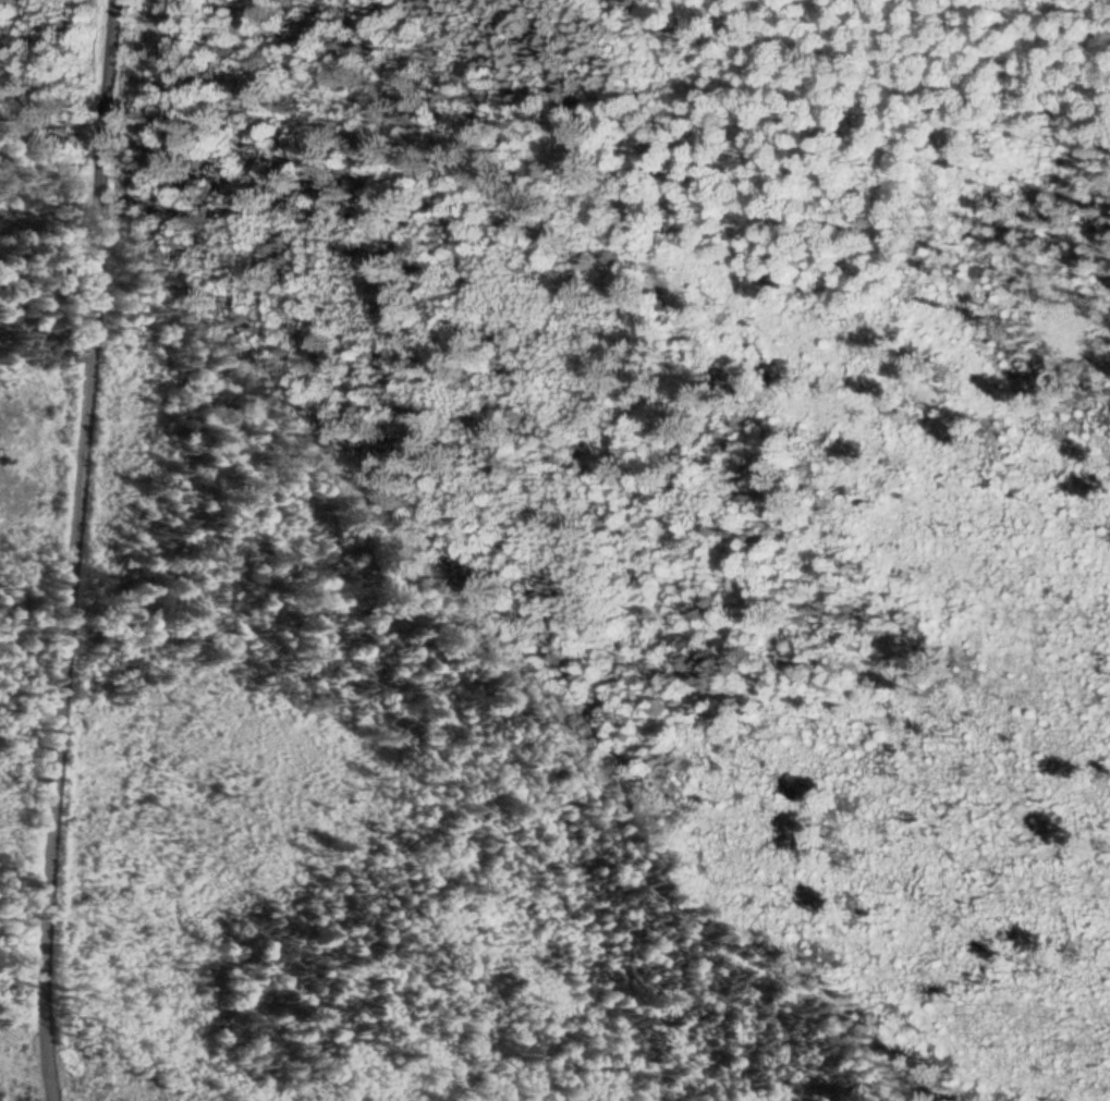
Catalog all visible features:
road: (72, 550)

